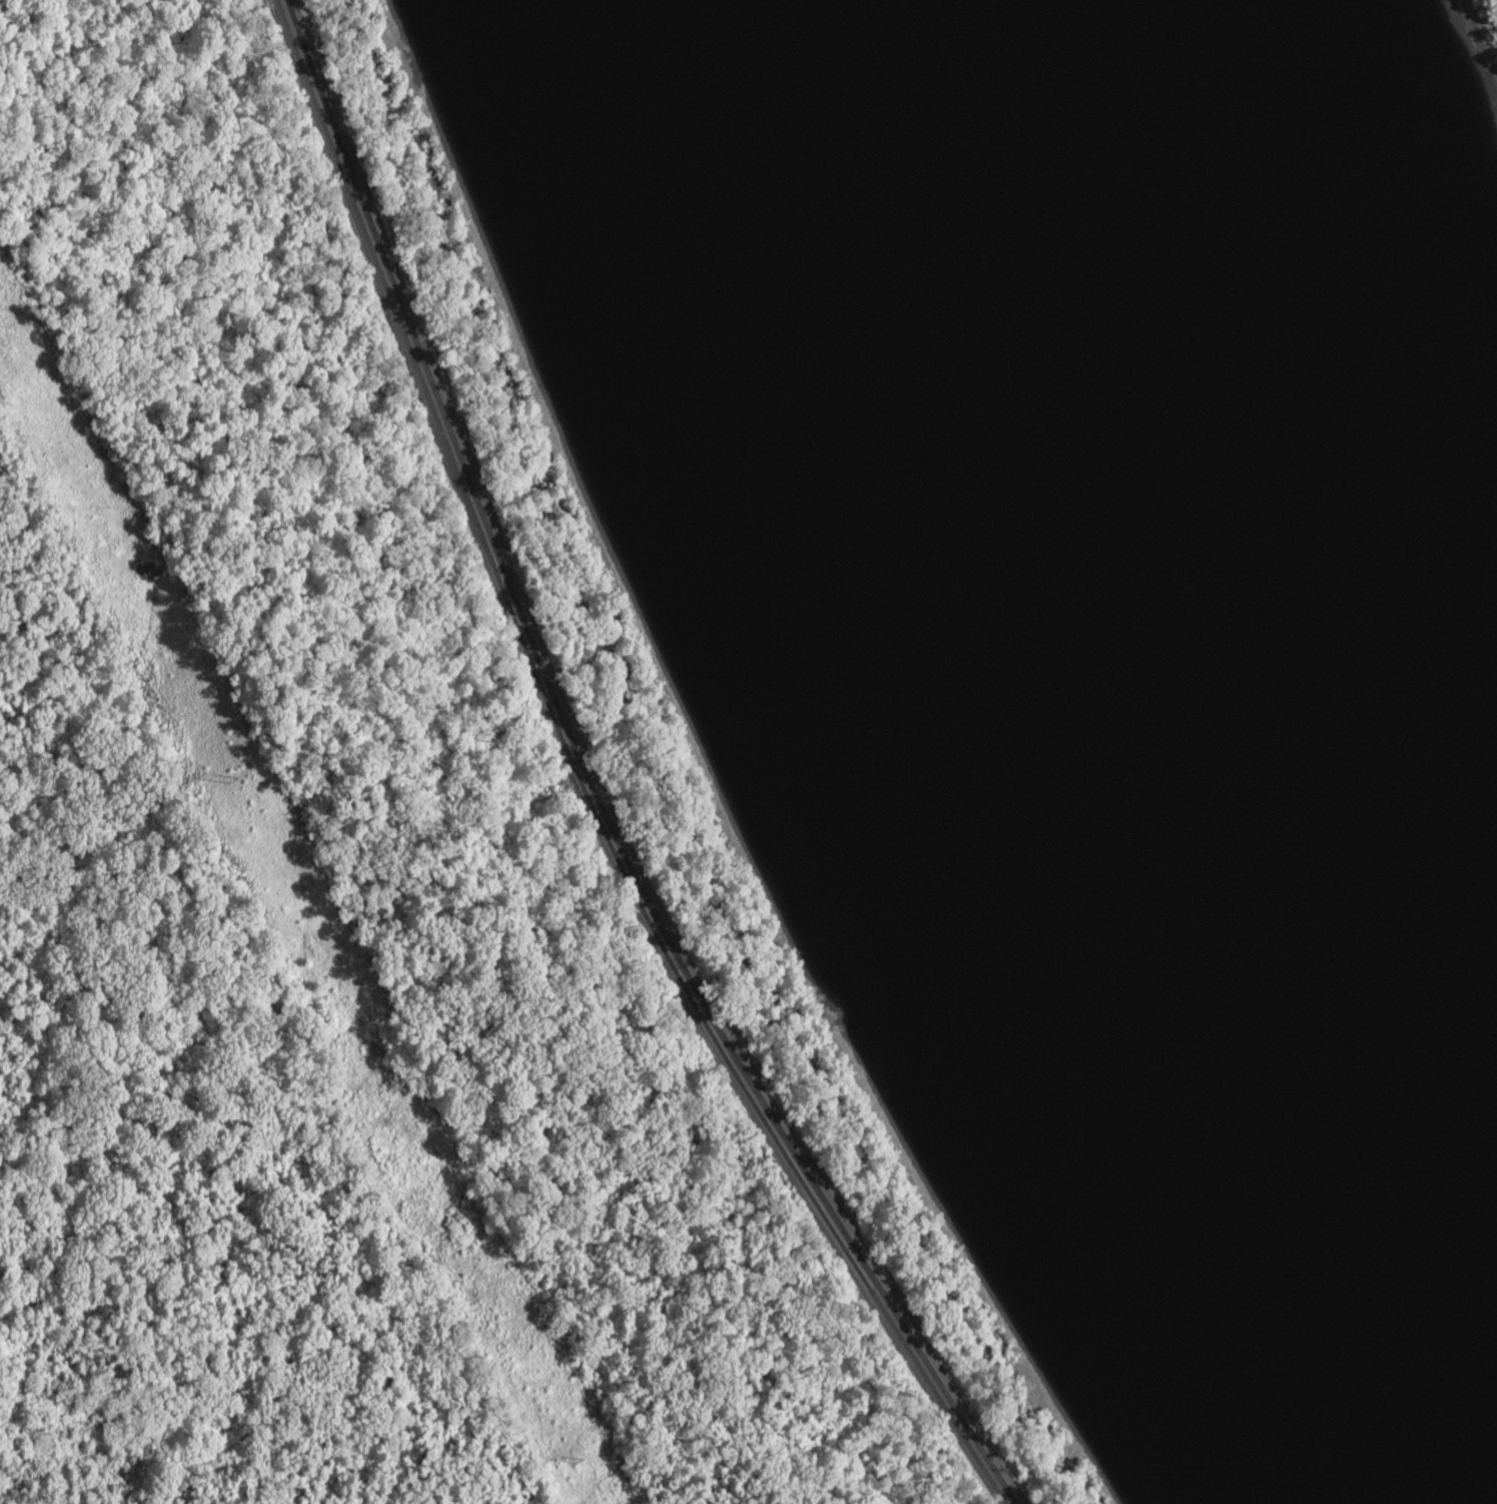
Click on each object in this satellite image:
crop: (1495, 3)
river: (1109, 666)
power tower: (231, 775)
railway: (582, 781)
railway: (593, 781)
power tower: (577, 1458)

